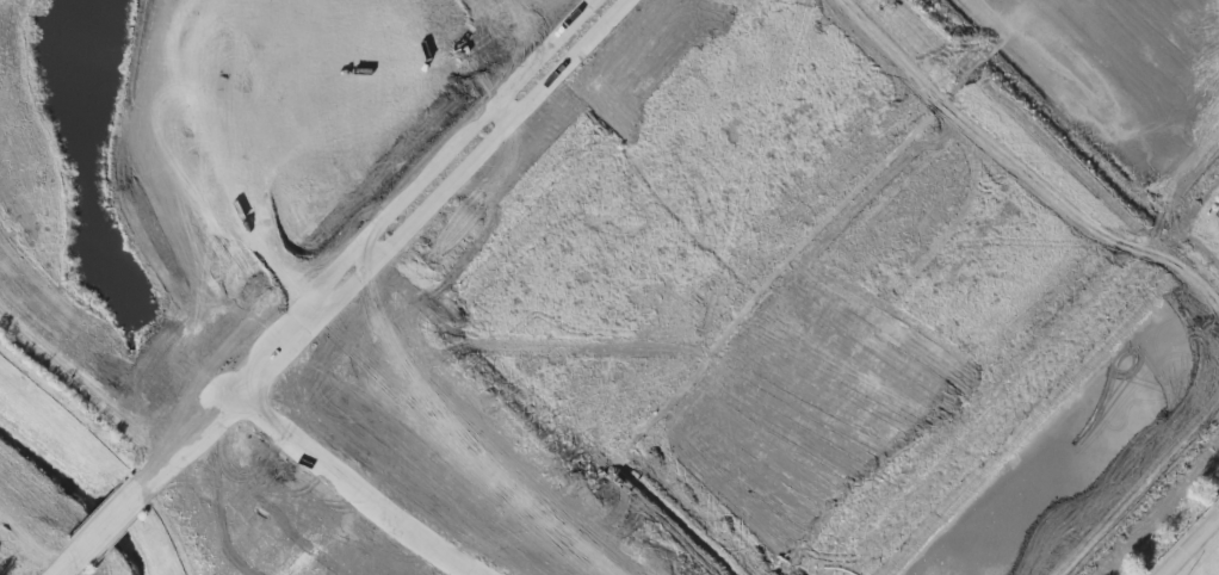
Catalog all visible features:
road: (421, 196)
road: (182, 443)
road: (349, 486)
road: (105, 528)
road: (1189, 544)
road: (66, 569)

